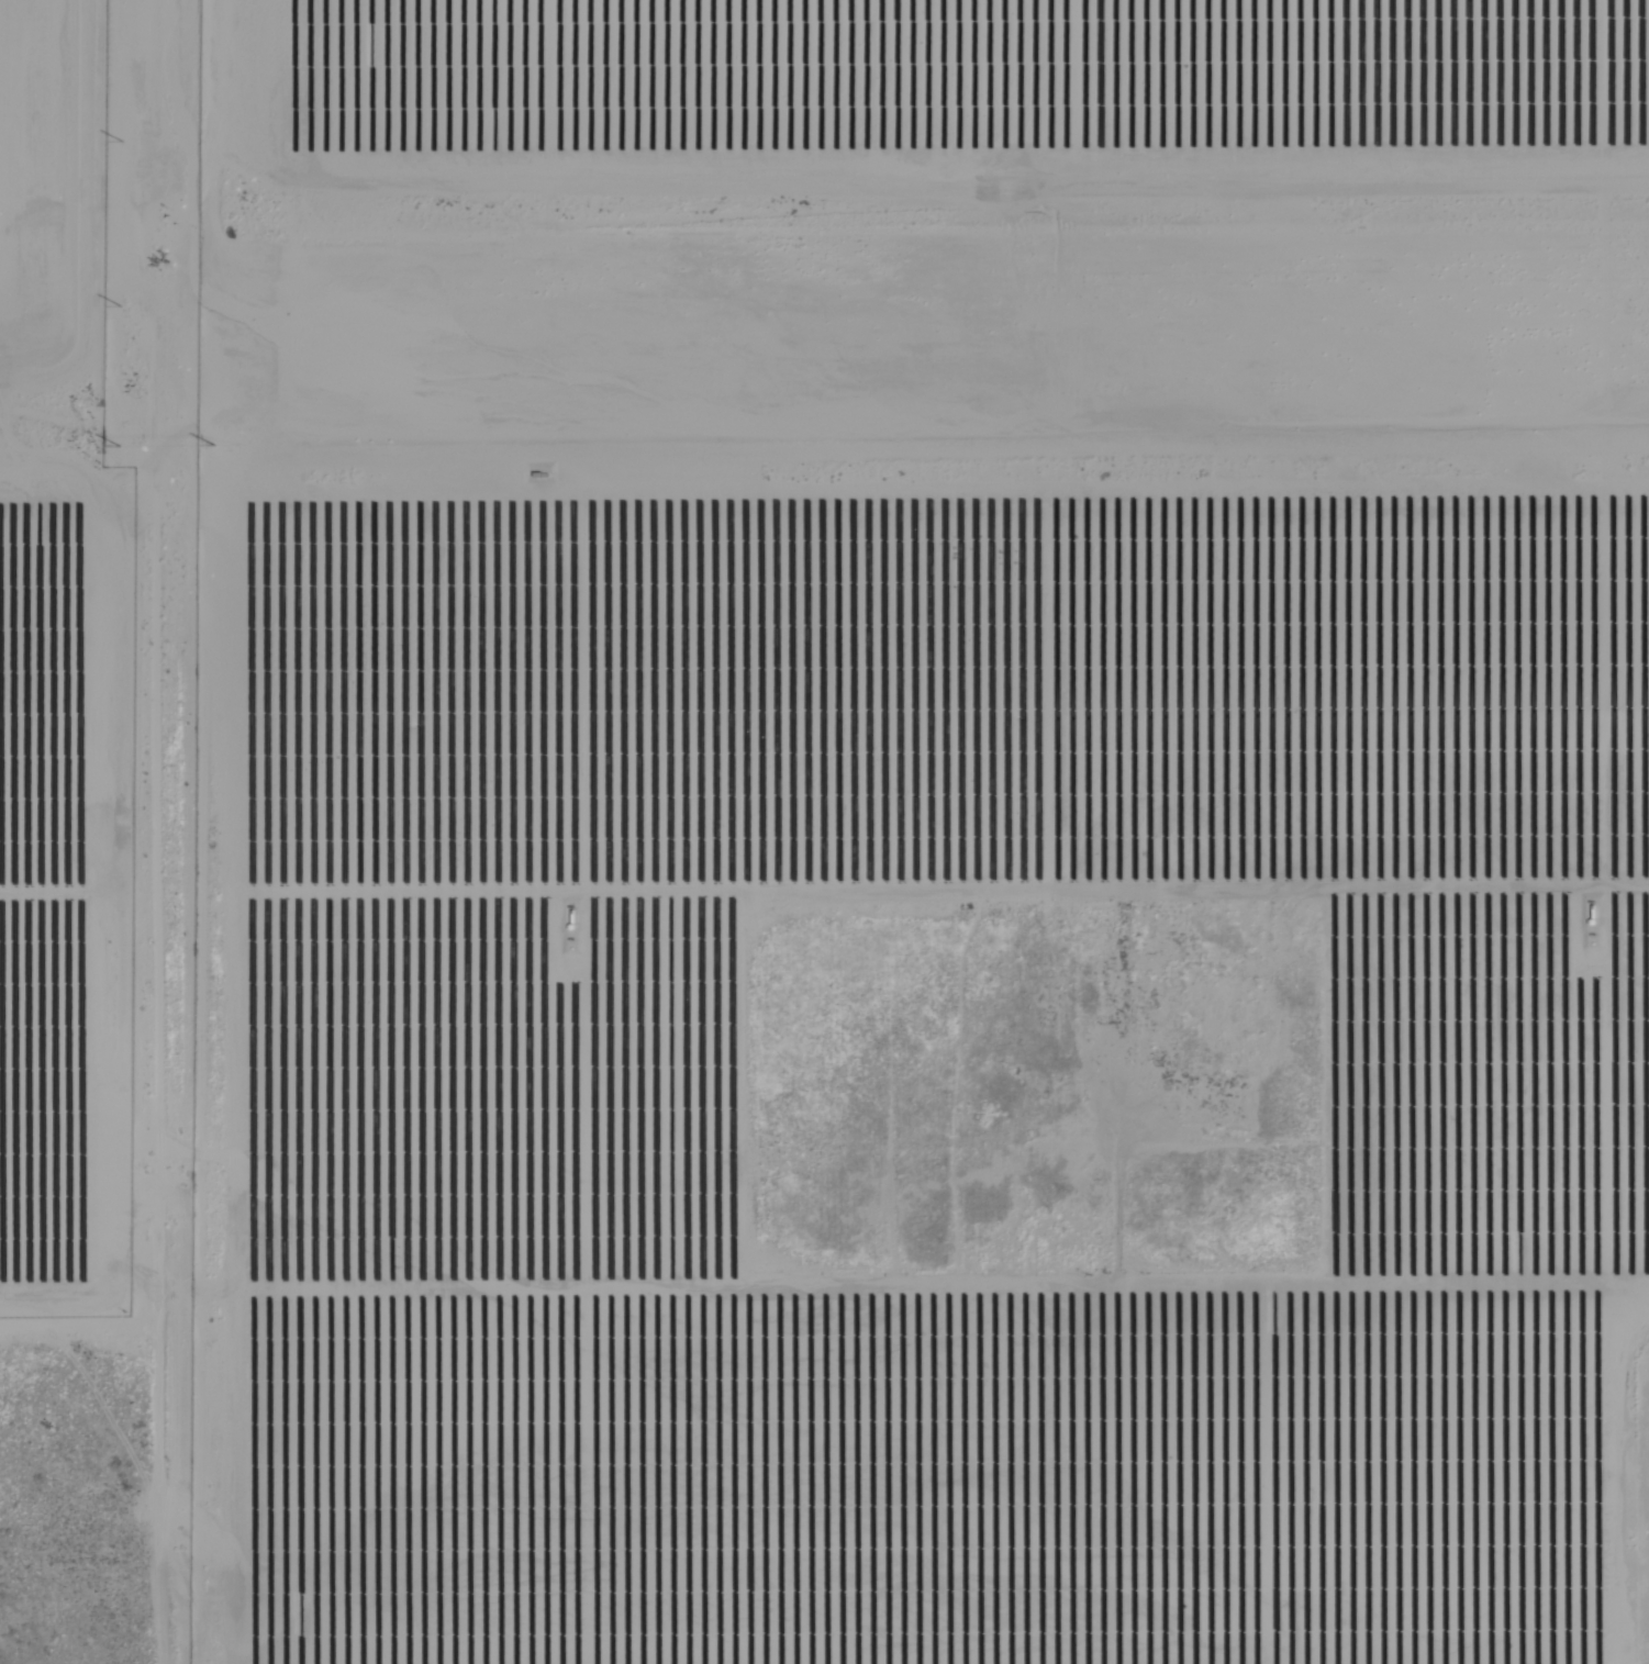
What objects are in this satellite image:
solar farm: (60, 669)
road: (154, 820)
solar farm: (928, 831)

